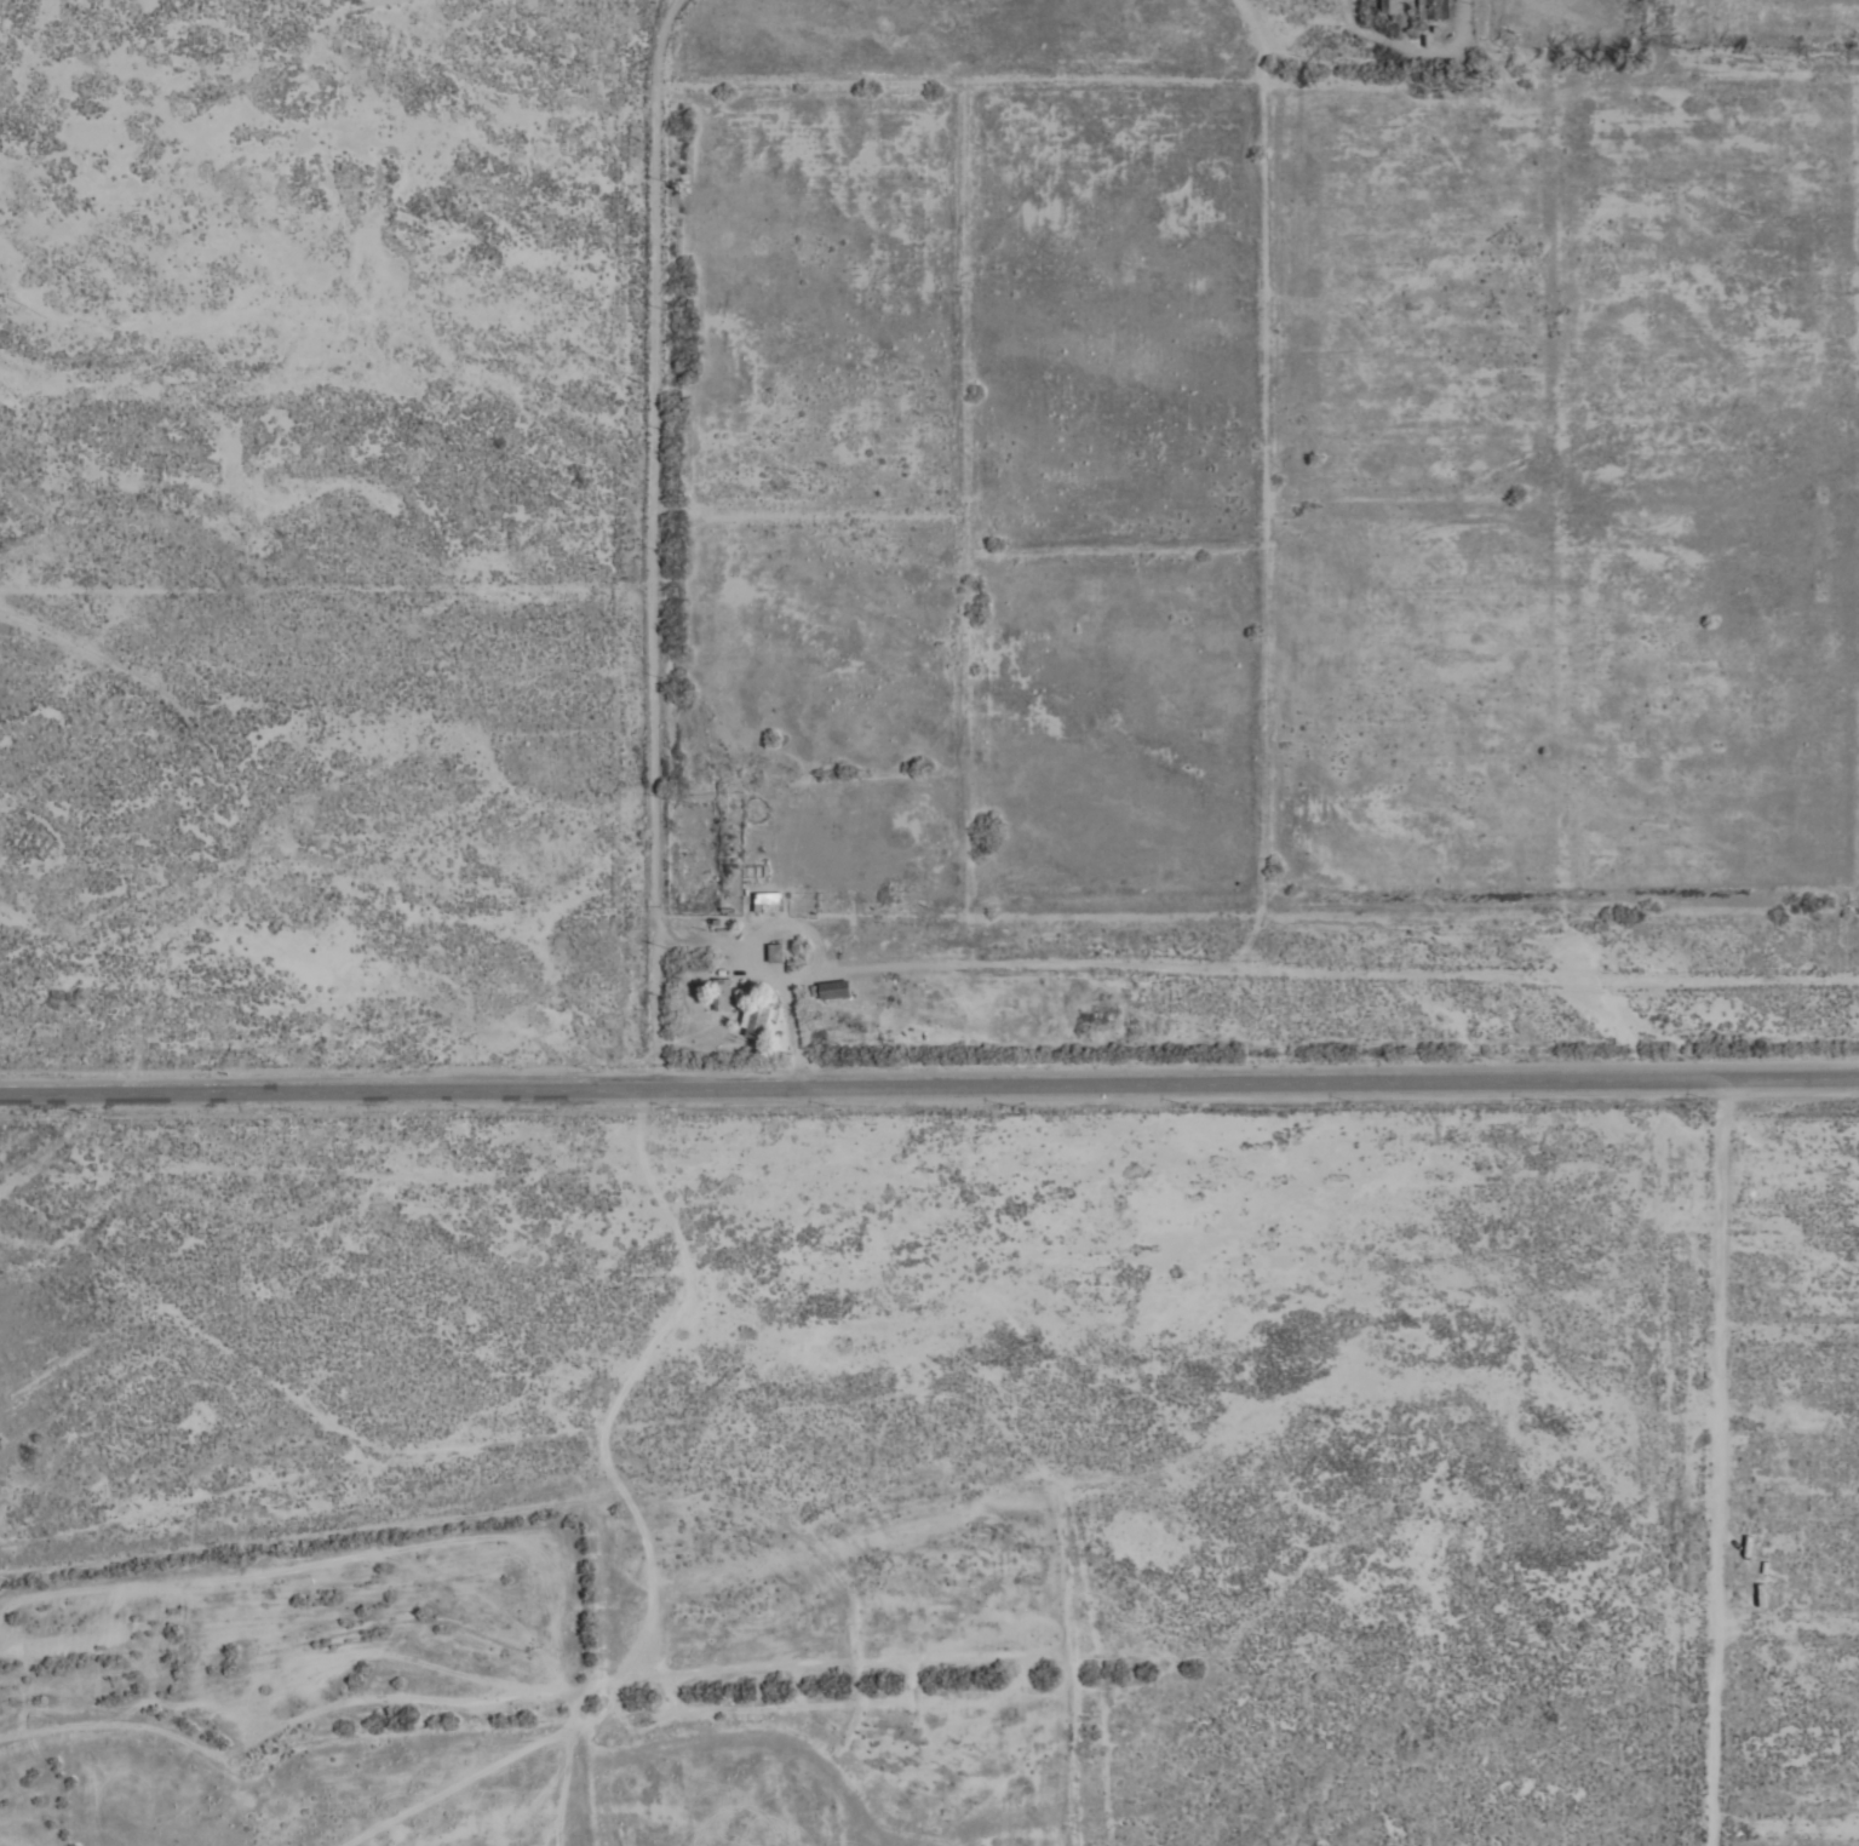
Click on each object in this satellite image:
building: (1389, 6)
building: (1433, 8)
road: (649, 541)
building: (765, 899)
building: (775, 952)
building: (834, 988)
building: (722, 993)
road: (791, 1016)
building: (757, 1017)
road: (929, 1084)

